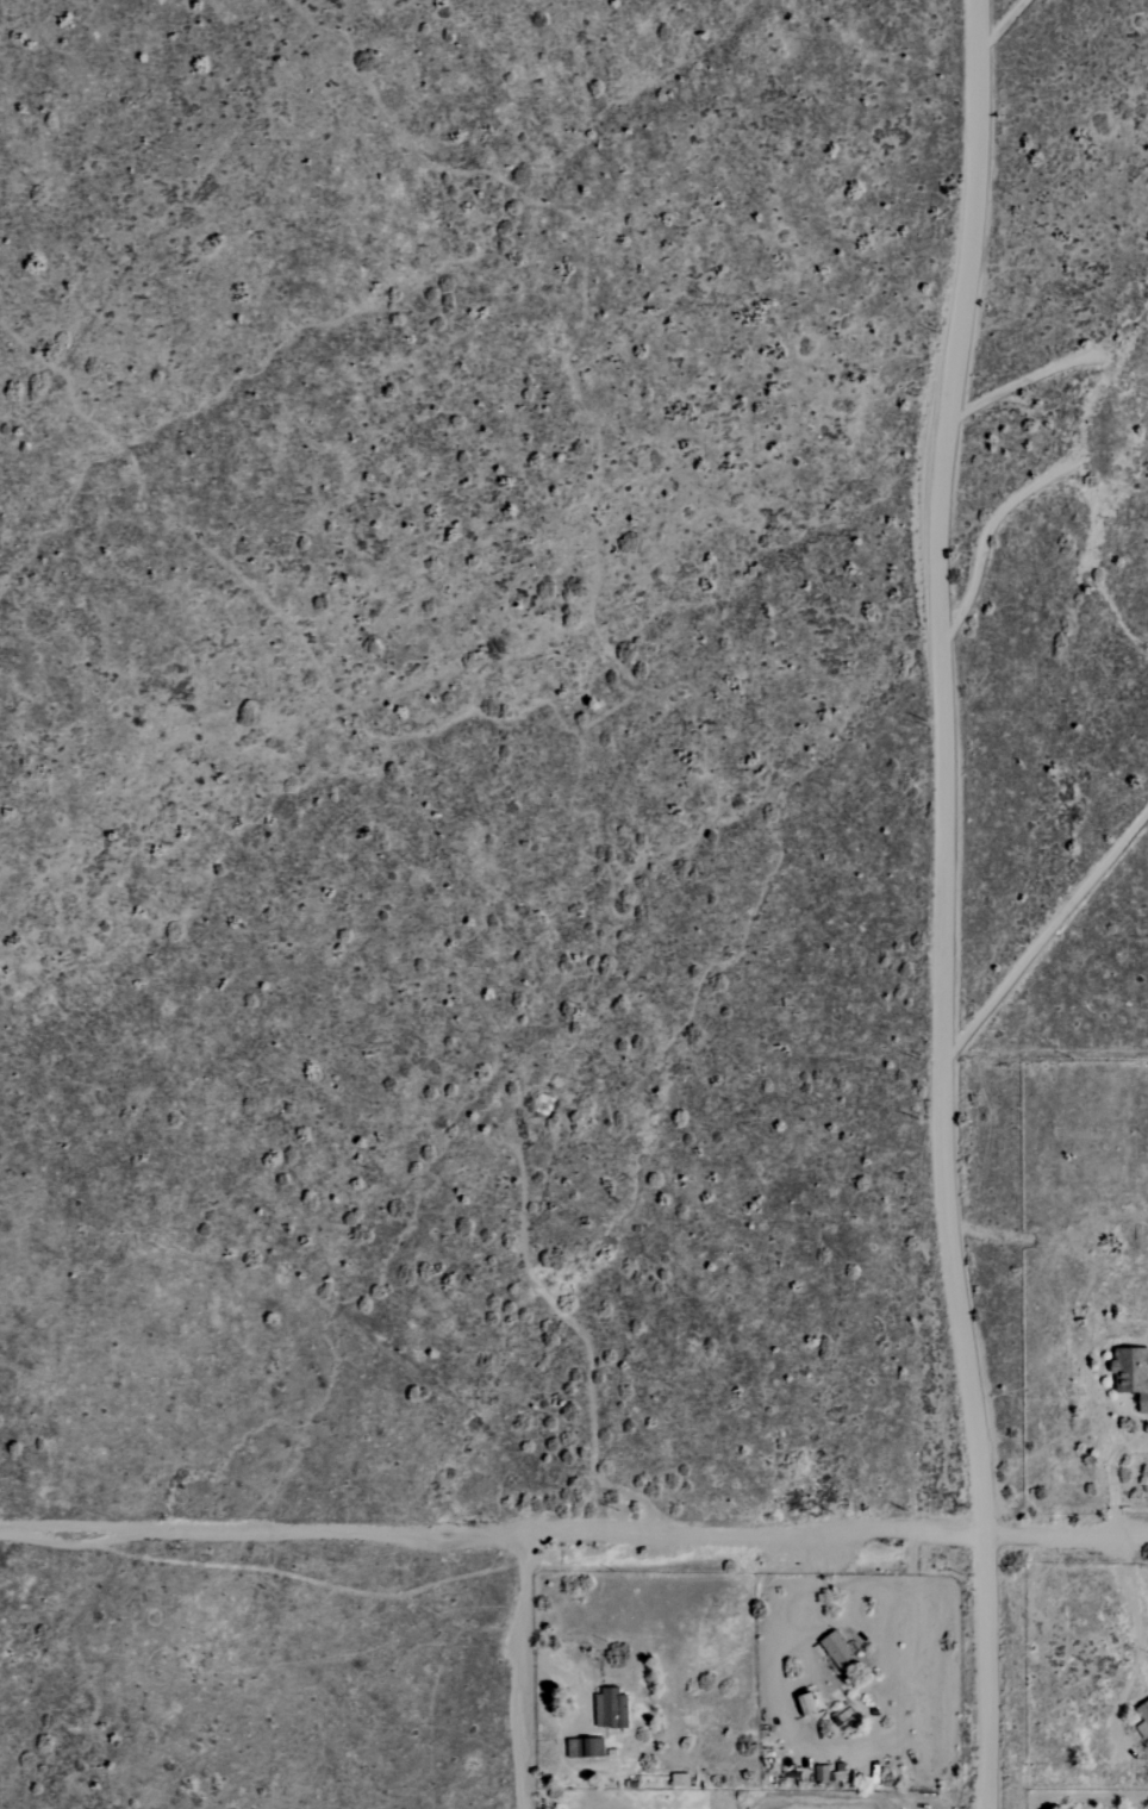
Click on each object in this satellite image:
road: (944, 903)
building: (1131, 1373)
road: (1111, 1477)
road: (574, 1532)
road: (1137, 1598)
road: (525, 1671)
building: (611, 1708)
building: (1142, 1718)
building: (584, 1747)
building: (821, 1773)

